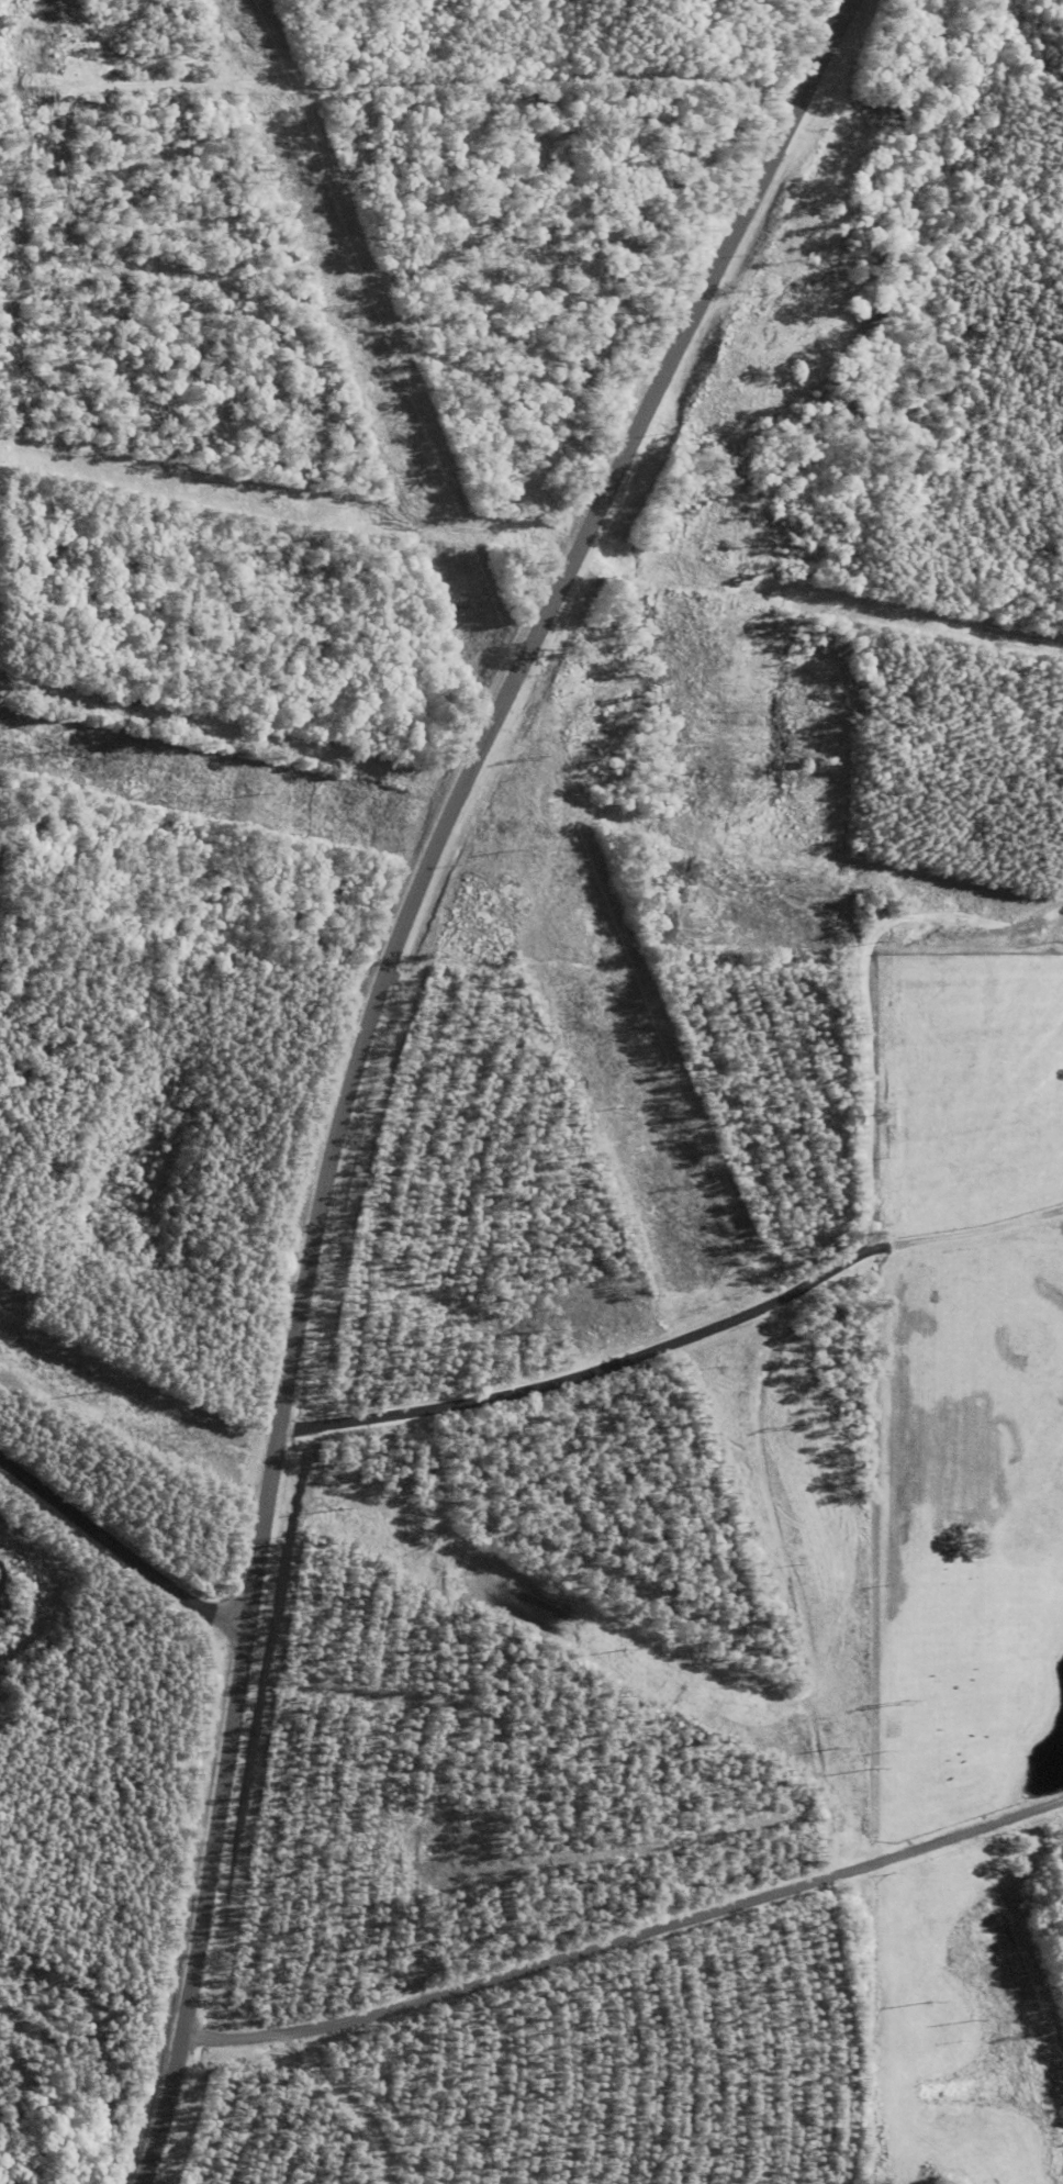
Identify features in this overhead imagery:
road: (865, 995)
road: (359, 1046)
road: (675, 1335)
road: (120, 1546)
road: (627, 1939)
road: (344, 2105)

